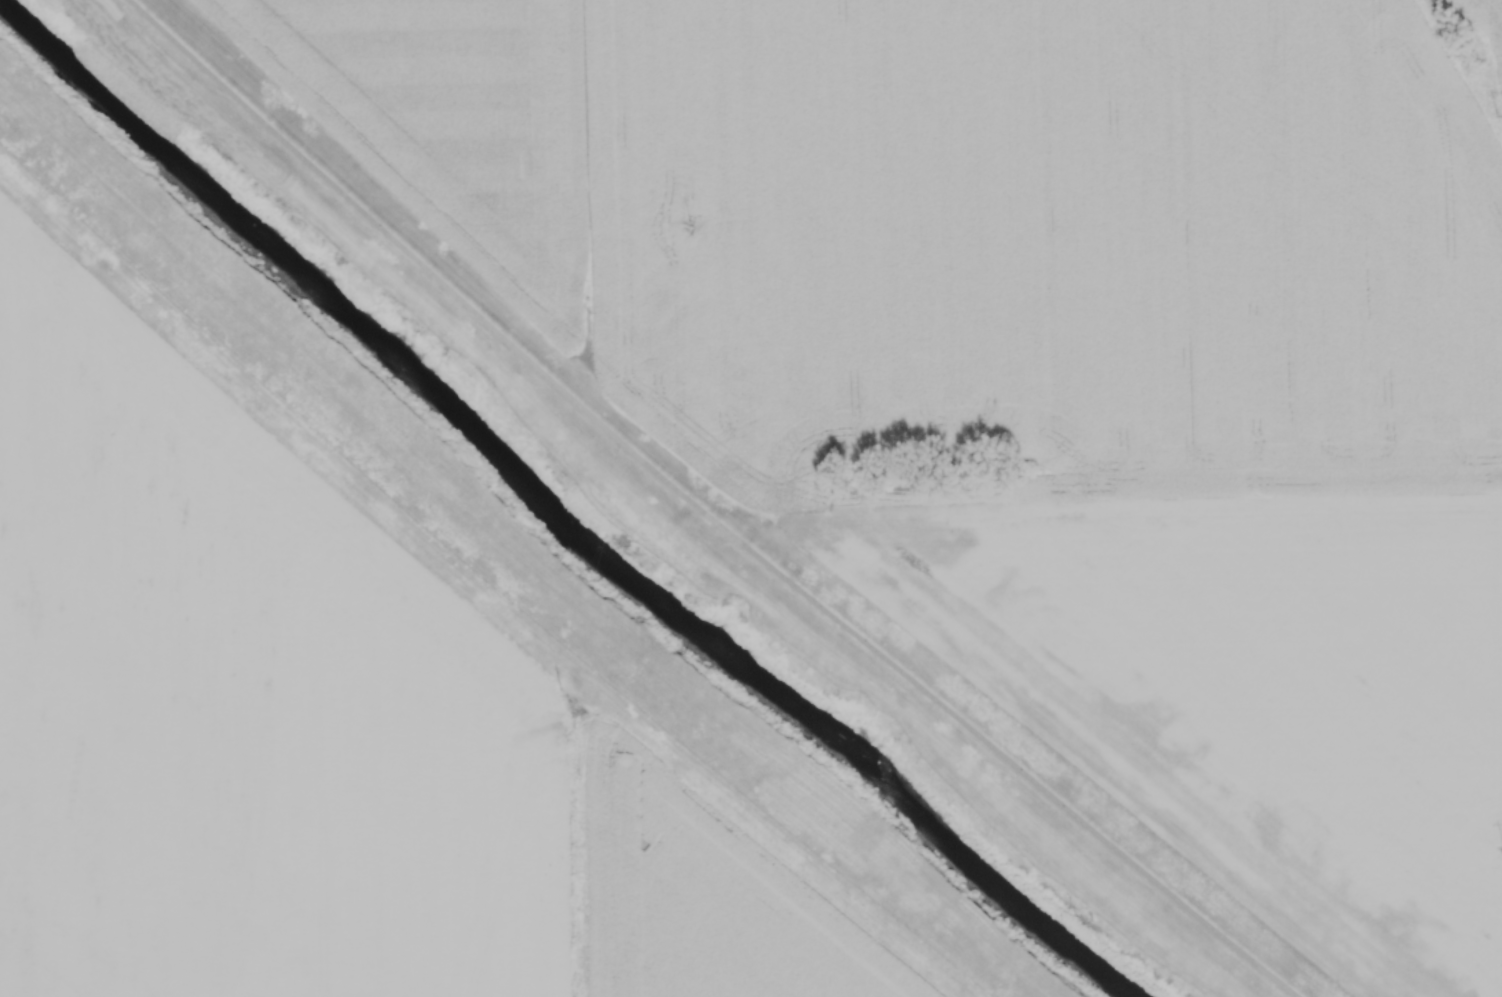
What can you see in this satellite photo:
crop: (462, 115)
crop: (1056, 236)
road: (705, 510)
river: (554, 516)
road: (484, 582)
crop: (311, 730)

